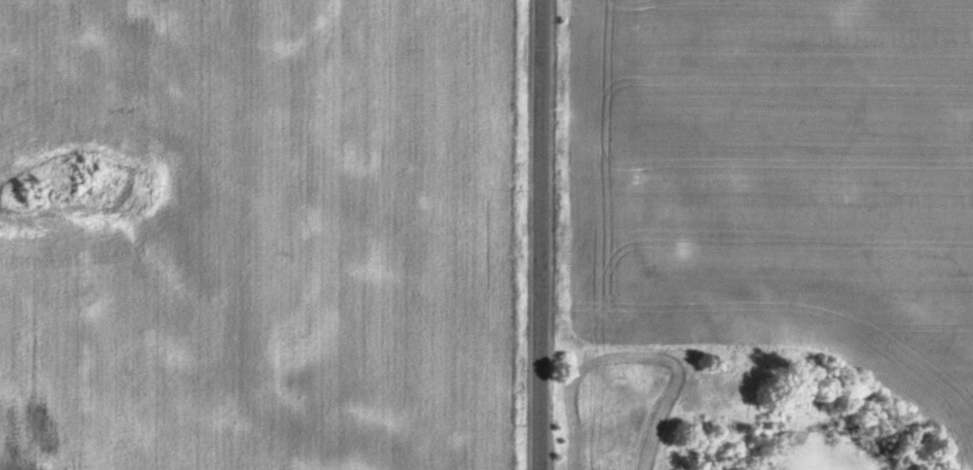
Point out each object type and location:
road: (538, 235)

